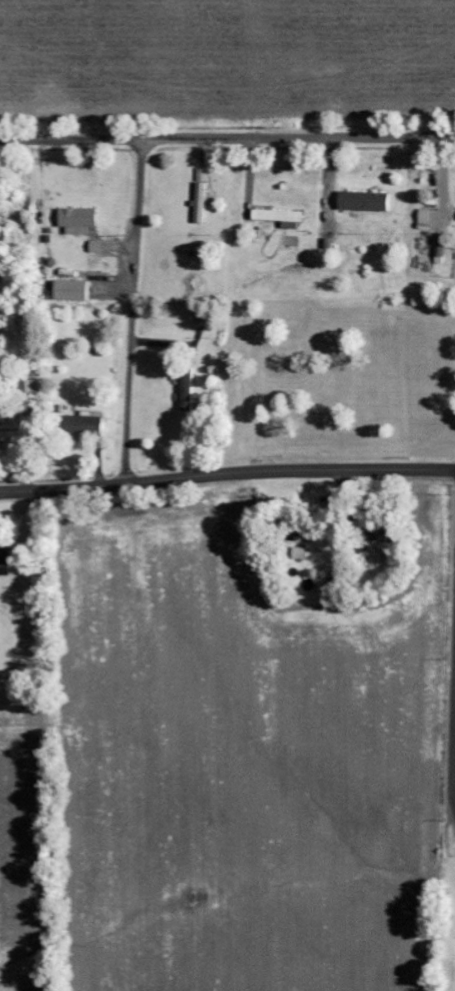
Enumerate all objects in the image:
road: (227, 141)
building: (201, 195)
building: (364, 202)
building: (279, 218)
building: (425, 219)
building: (78, 221)
building: (71, 291)
road: (132, 312)
building: (200, 316)
building: (29, 388)
building: (187, 390)
building: (4, 411)
building: (83, 425)
road: (227, 473)
building: (5, 562)

